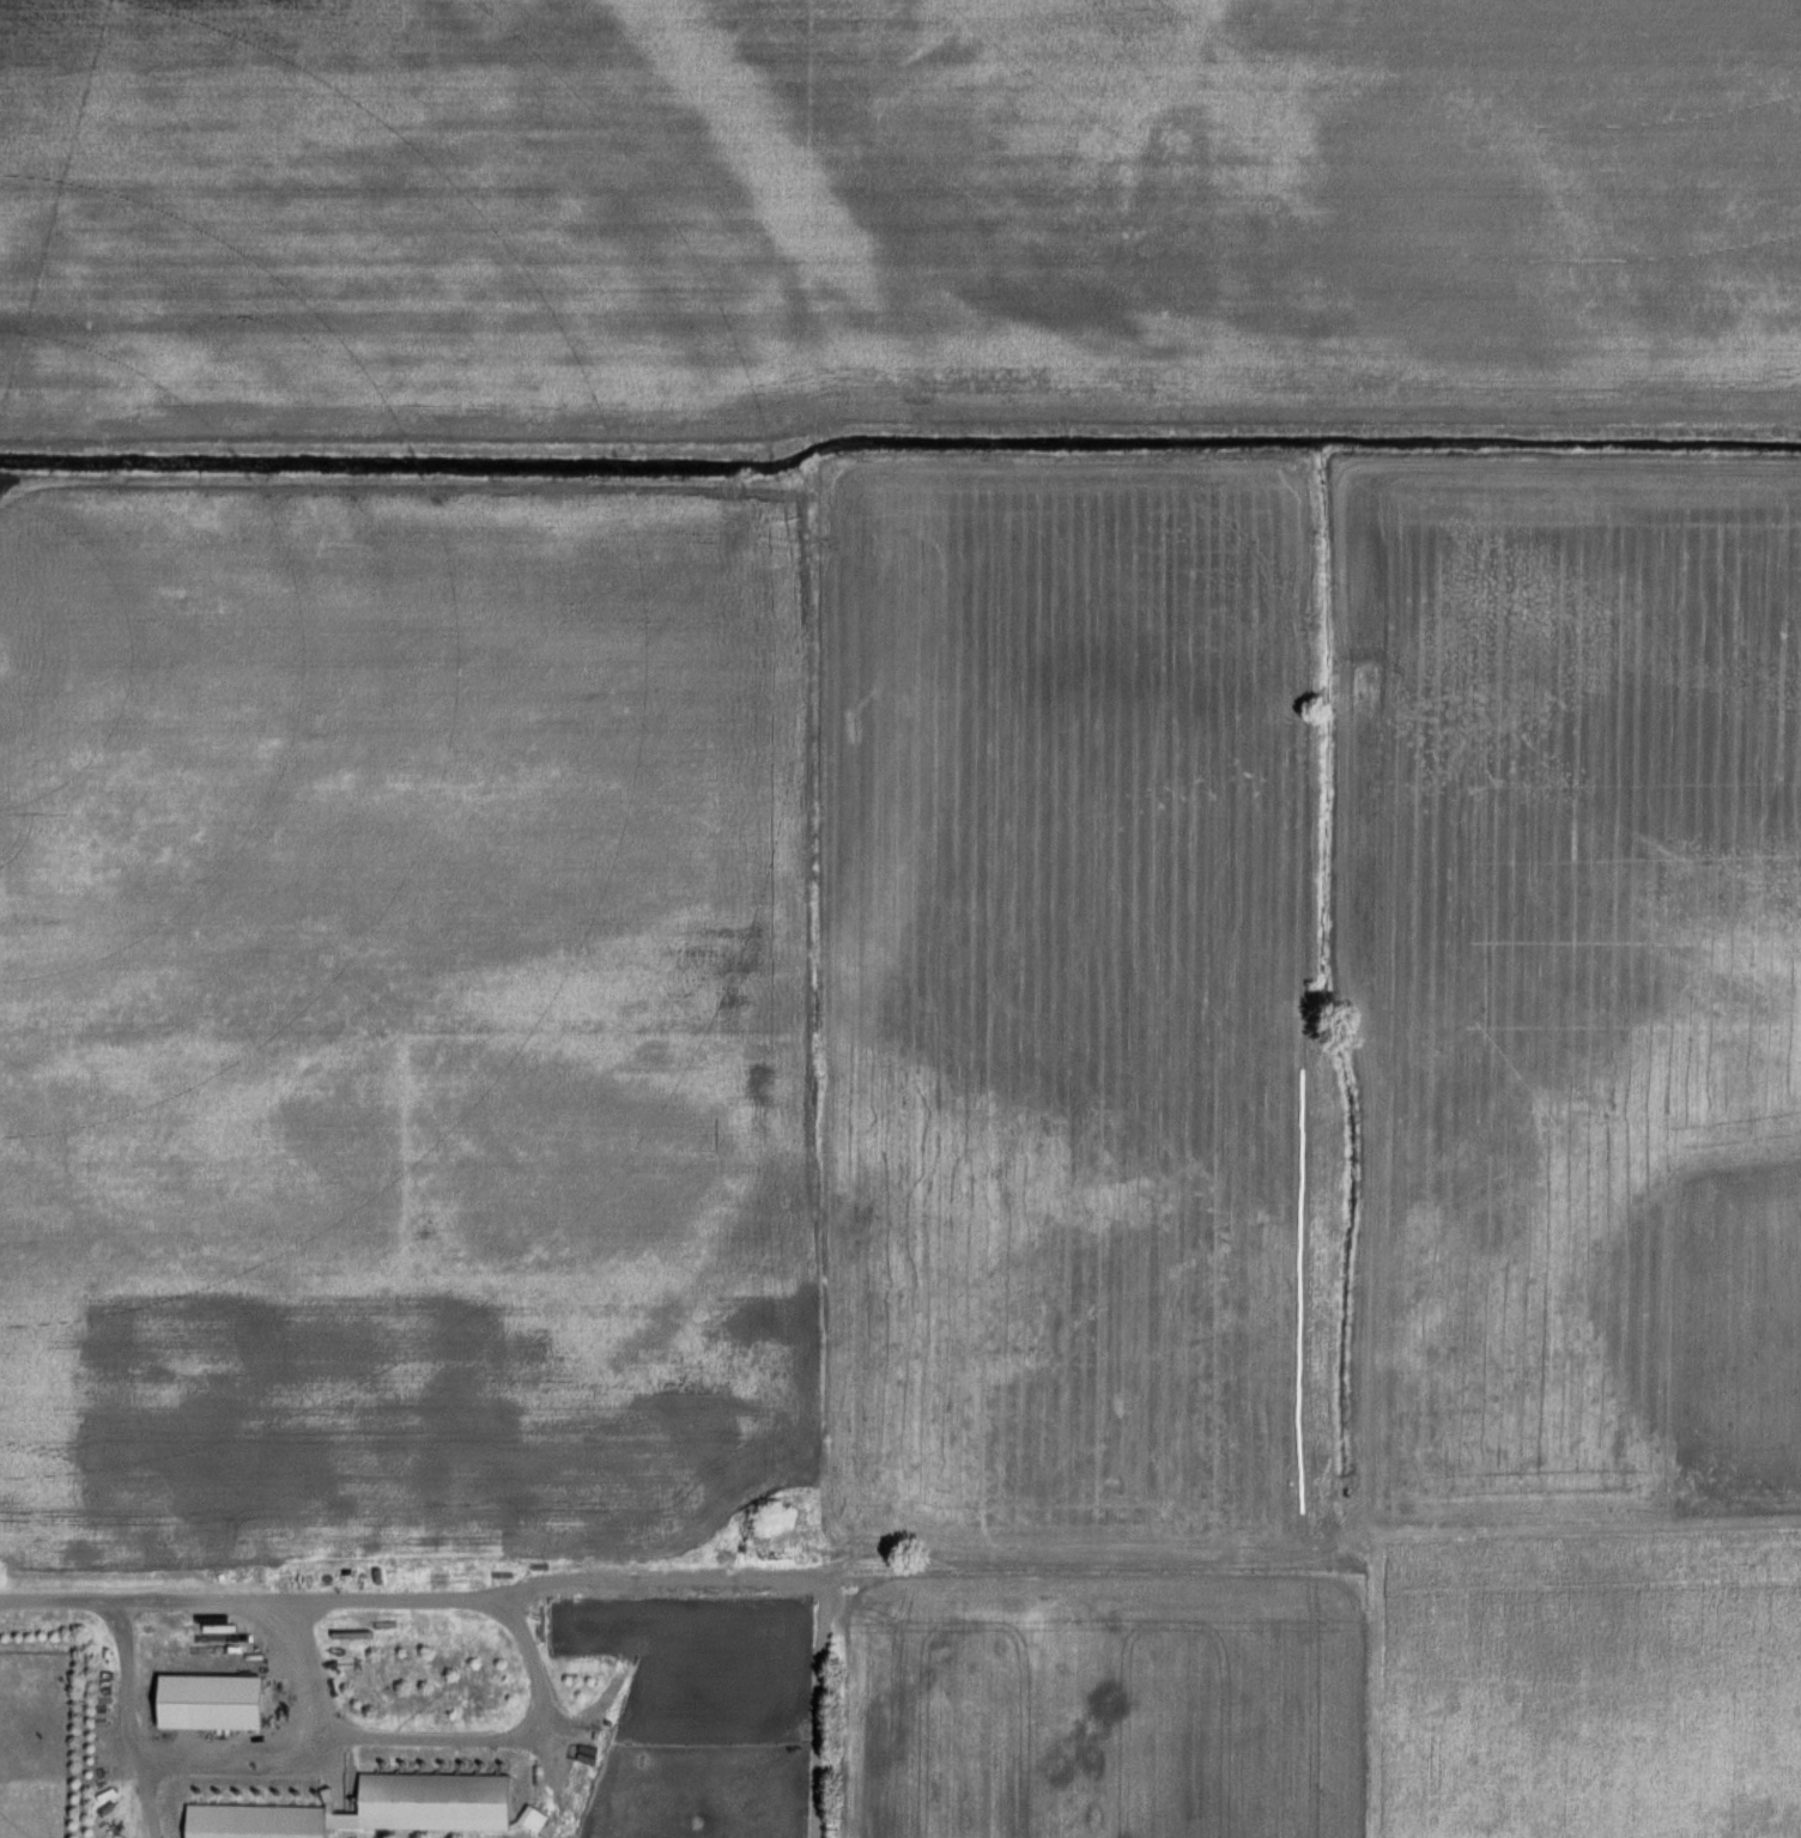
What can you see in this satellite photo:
road: (138, 1597)
building: (217, 1700)
road: (539, 1729)
road: (156, 1754)
building: (441, 1800)
building: (538, 1816)

